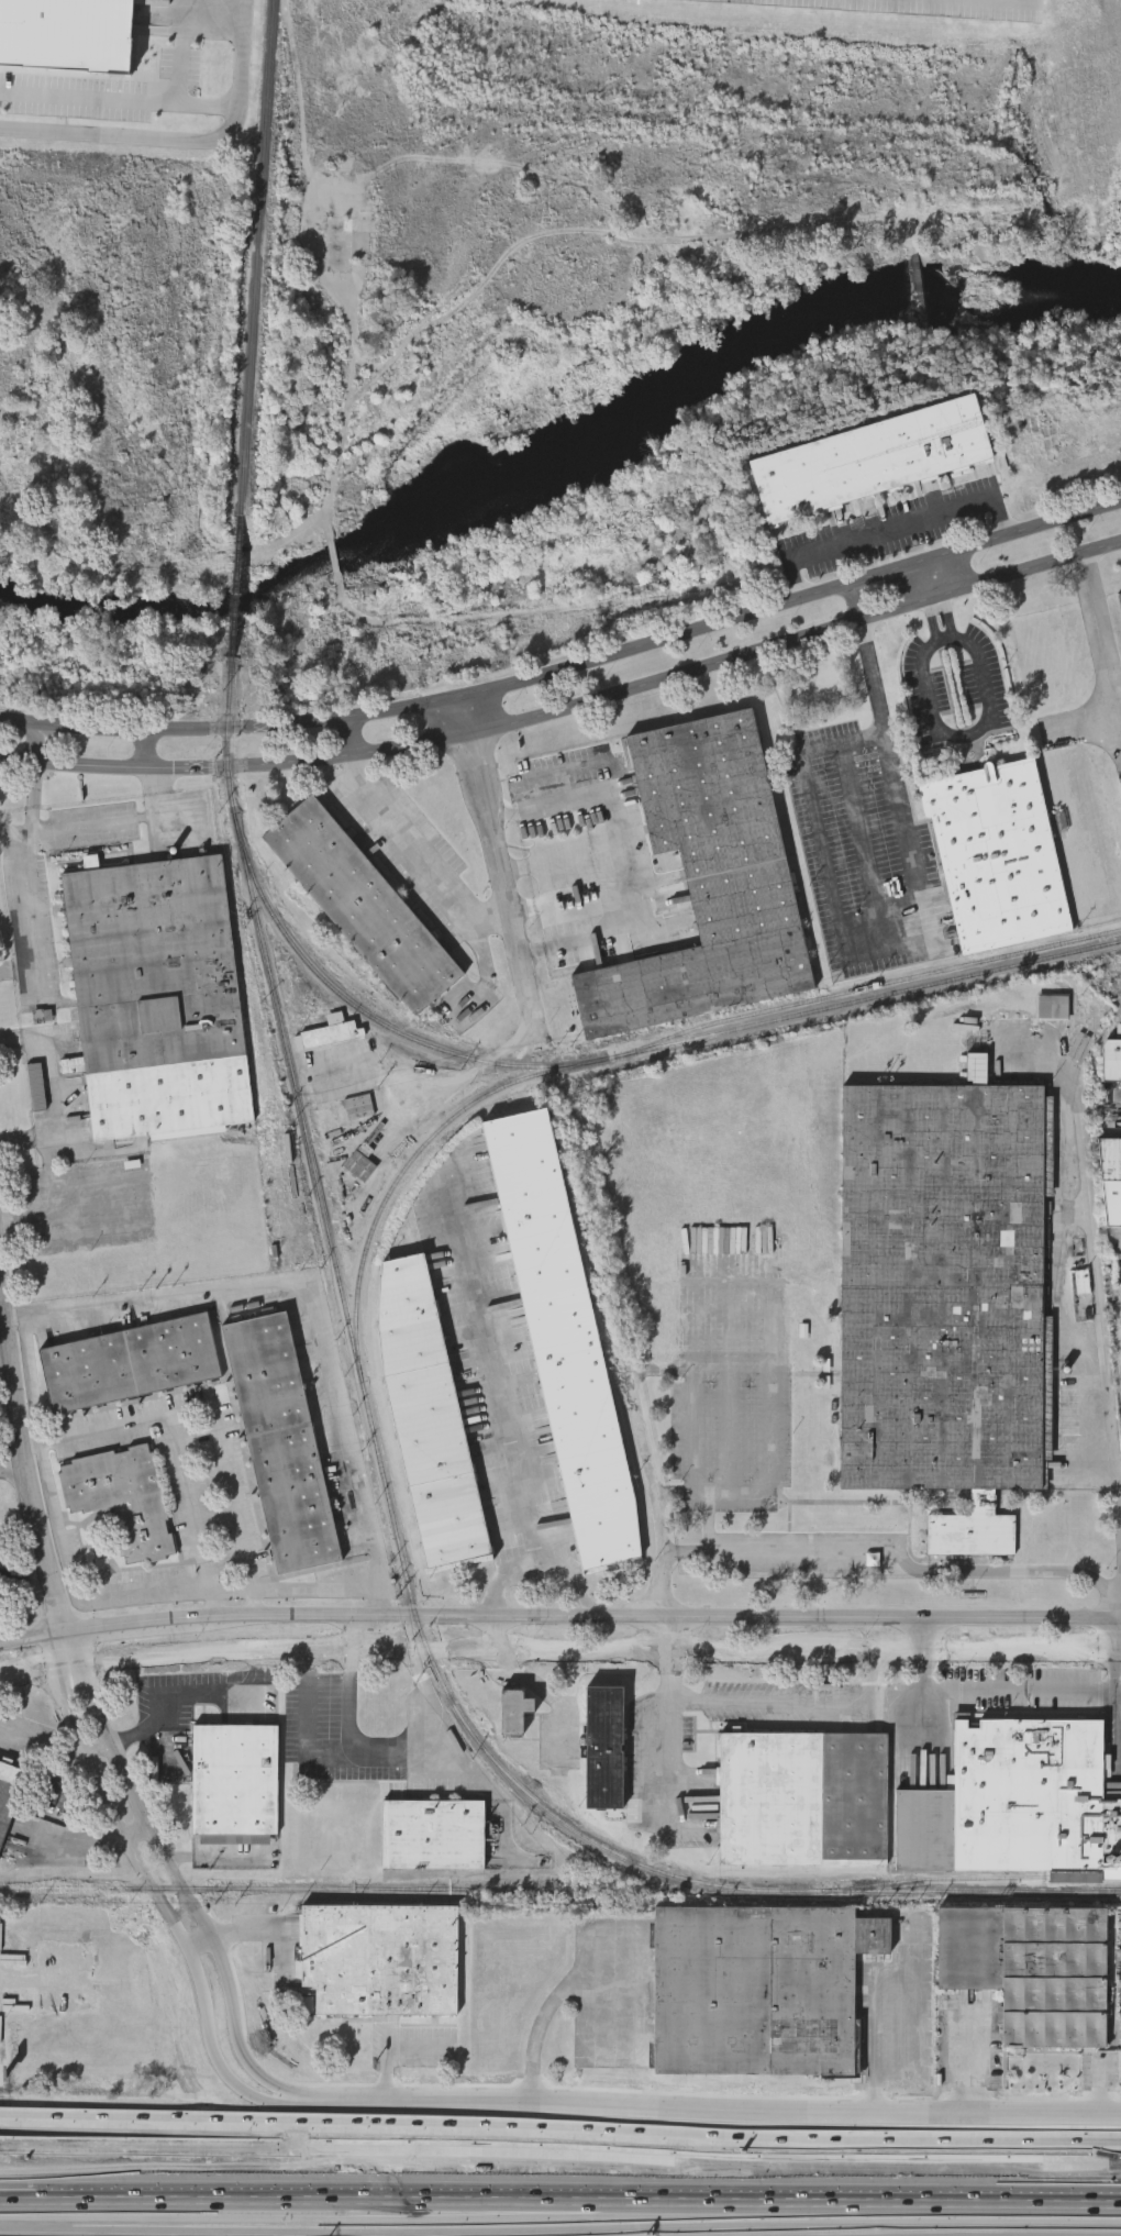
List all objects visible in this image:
road: (1006, 2)
building: (66, 37)
road: (242, 48)
road: (148, 101)
road: (99, 134)
building: (343, 247)
railway: (257, 258)
building: (869, 458)
road: (892, 528)
railway: (236, 590)
road: (943, 596)
road: (926, 601)
road: (1101, 639)
road: (569, 668)
road: (568, 708)
road: (972, 733)
road: (130, 819)
road: (398, 844)
building: (997, 855)
road: (27, 856)
road: (497, 861)
road: (630, 863)
building: (707, 879)
building: (363, 905)
road: (914, 906)
road: (19, 966)
railway: (874, 986)
building: (156, 998)
building: (1054, 1006)
building: (332, 1031)
railway: (626, 1052)
building: (1111, 1063)
road: (433, 1083)
road: (53, 1091)
railway: (406, 1170)
building: (1111, 1181)
road: (1100, 1278)
road: (1, 1295)
building: (945, 1300)
building: (564, 1340)
building: (130, 1364)
railway: (358, 1365)
road: (500, 1368)
building: (426, 1412)
road: (10, 1418)
road: (174, 1444)
building: (280, 1444)
road: (25, 1458)
road: (13, 1468)
road: (227, 1491)
building: (121, 1499)
road: (363, 1509)
road: (654, 1523)
road: (544, 1545)
road: (897, 1550)
road: (25, 1579)
road: (384, 1598)
road: (559, 1614)
road: (492, 1631)
road: (362, 1632)
road: (920, 1636)
road: (558, 1651)
road: (1114, 1670)
road: (876, 1678)
road: (1021, 1691)
road: (547, 1695)
road: (796, 1702)
building: (513, 1713)
road: (162, 1720)
road: (20, 1738)
building: (603, 1749)
road: (336, 1751)
road: (654, 1753)
road: (457, 1758)
building: (235, 1780)
building: (9, 1794)
building: (803, 1800)
building: (1010, 1801)
road: (137, 1833)
building: (435, 1835)
railway: (972, 1878)
road: (179, 1880)
railway: (374, 1890)
railway: (935, 1892)
road: (160, 1899)
road: (203, 1942)
building: (379, 1959)
building: (1031, 1969)
building: (757, 1990)
road: (899, 2043)
road: (970, 2061)
road: (715, 2111)
road: (560, 2123)
road: (559, 2191)

